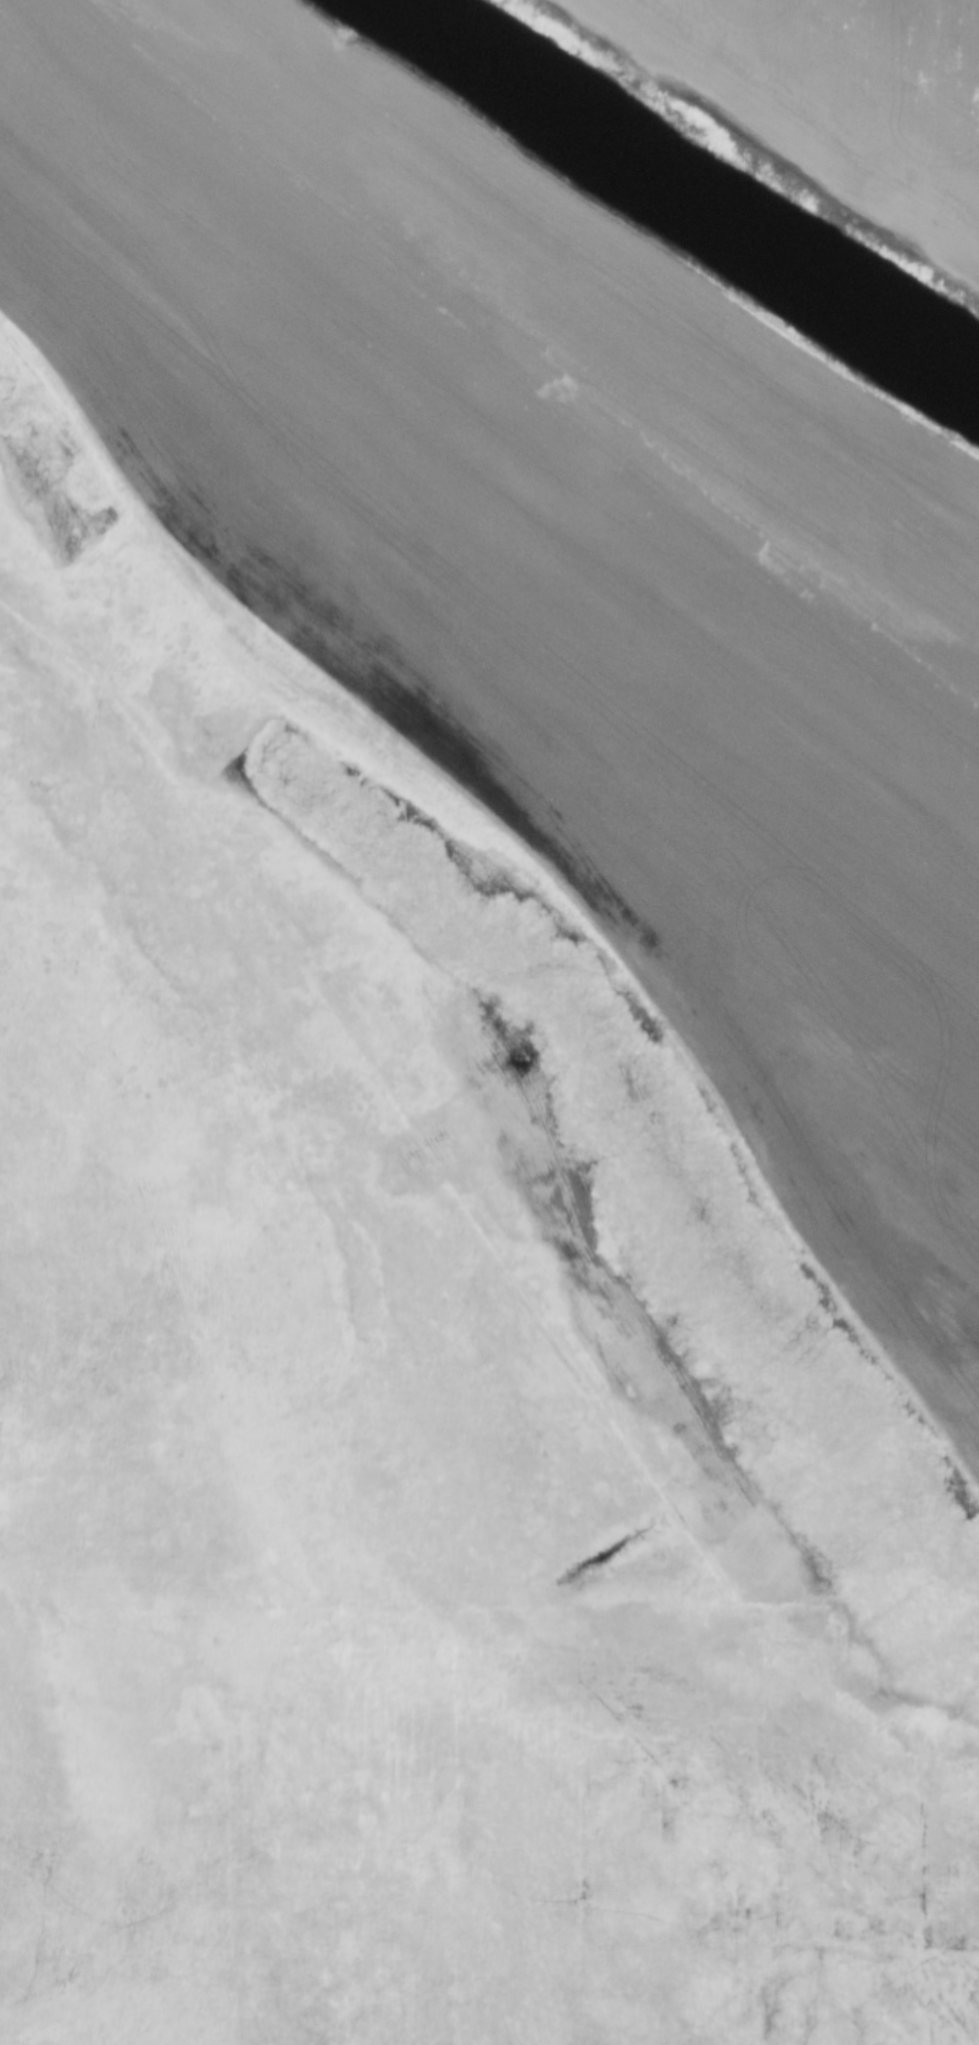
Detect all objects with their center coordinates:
river: (687, 197)

